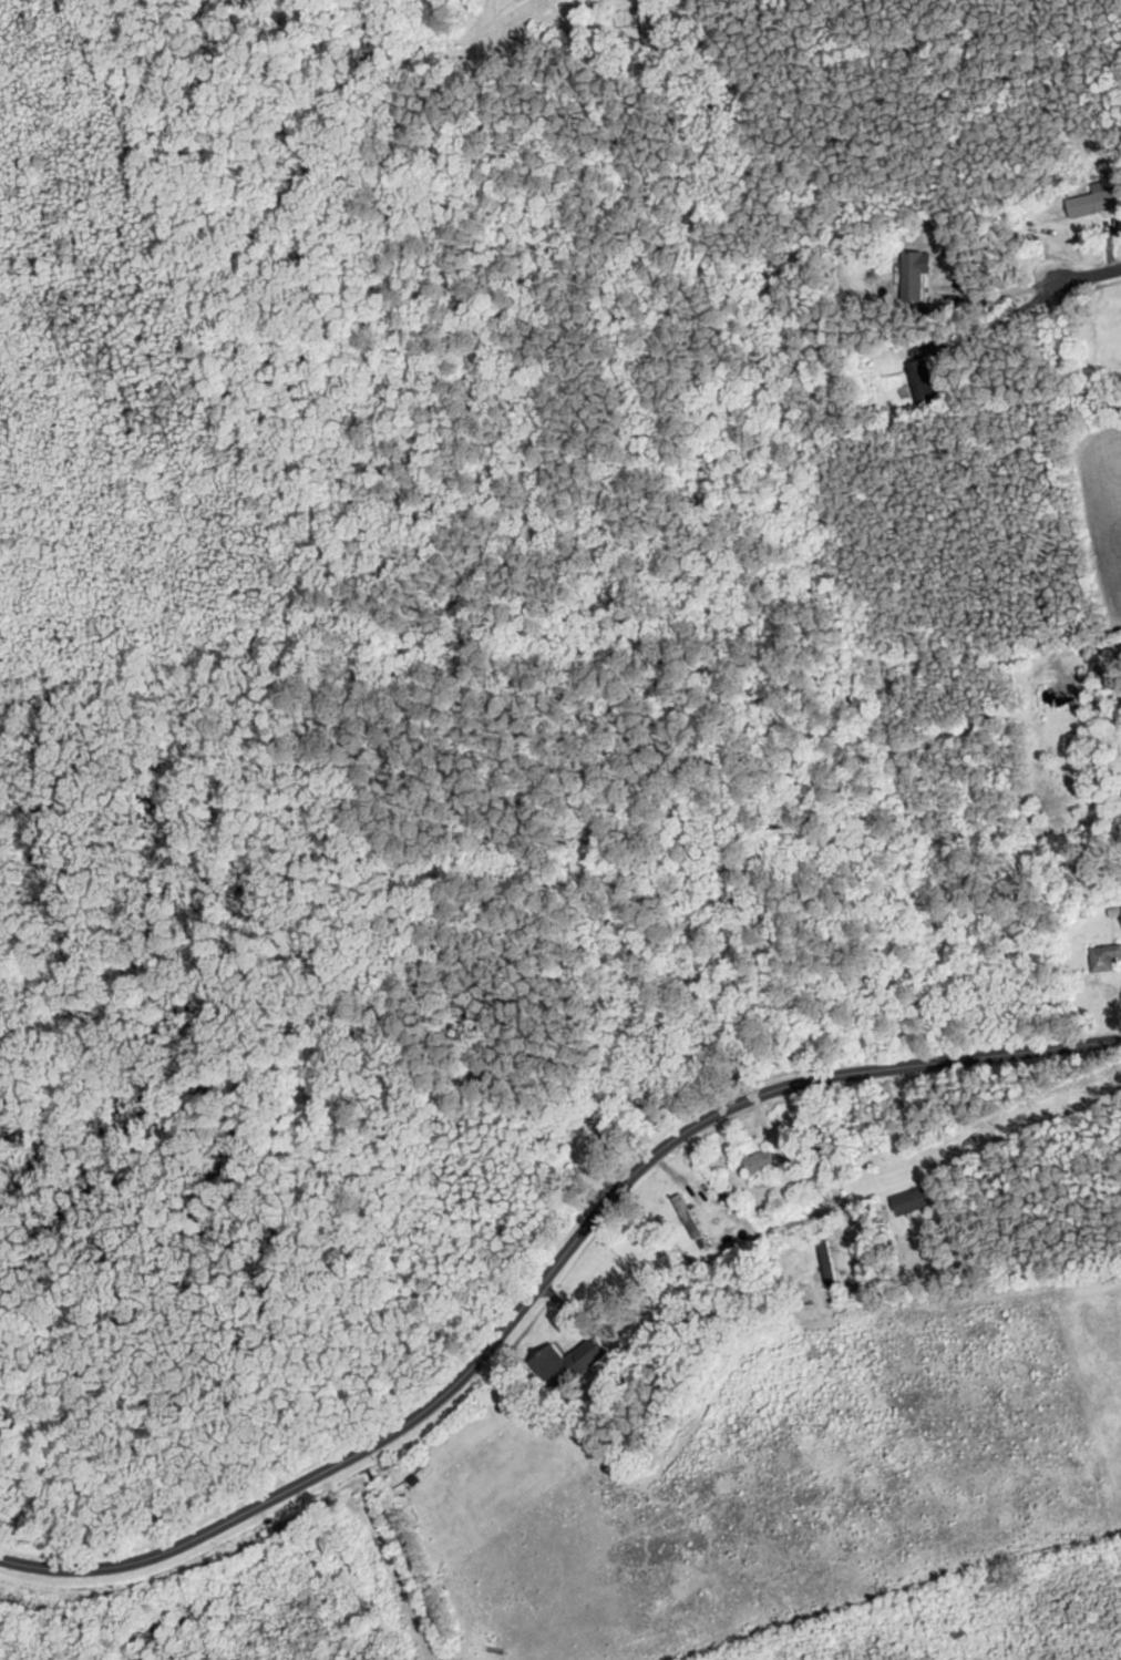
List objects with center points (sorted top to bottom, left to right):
building: (647, 18)
building: (1094, 203)
building: (918, 274)
road: (1070, 276)
building: (926, 381)
building: (1107, 959)
building: (599, 1139)
building: (761, 1162)
building: (829, 1264)
road: (547, 1278)
building: (573, 1363)

